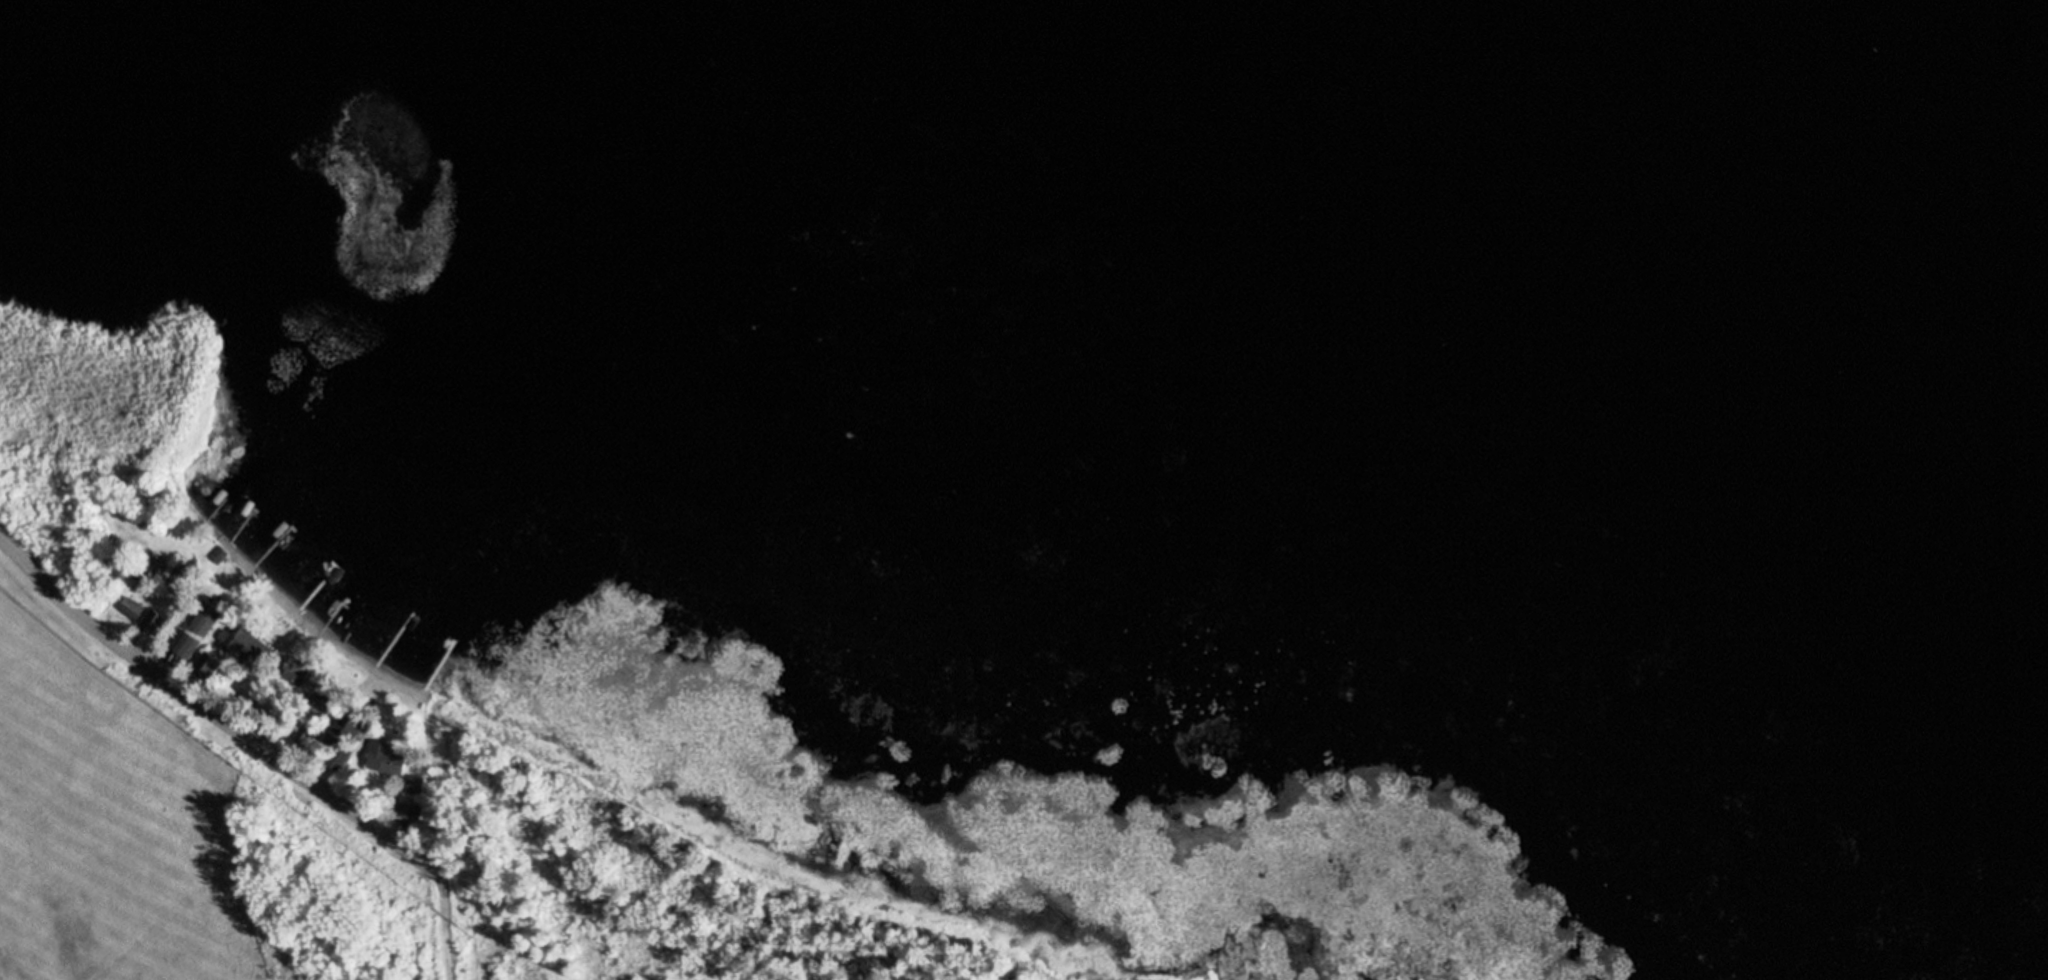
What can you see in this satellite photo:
building: (220, 553)
building: (132, 607)
building: (210, 617)
building: (235, 633)
building: (189, 656)
airport: (62, 657)
building: (208, 665)
building: (322, 702)
road: (211, 710)
building: (352, 723)
building: (305, 735)
building: (339, 754)
building: (386, 757)
building: (416, 783)
building: (413, 810)
airport: (1377, 977)

